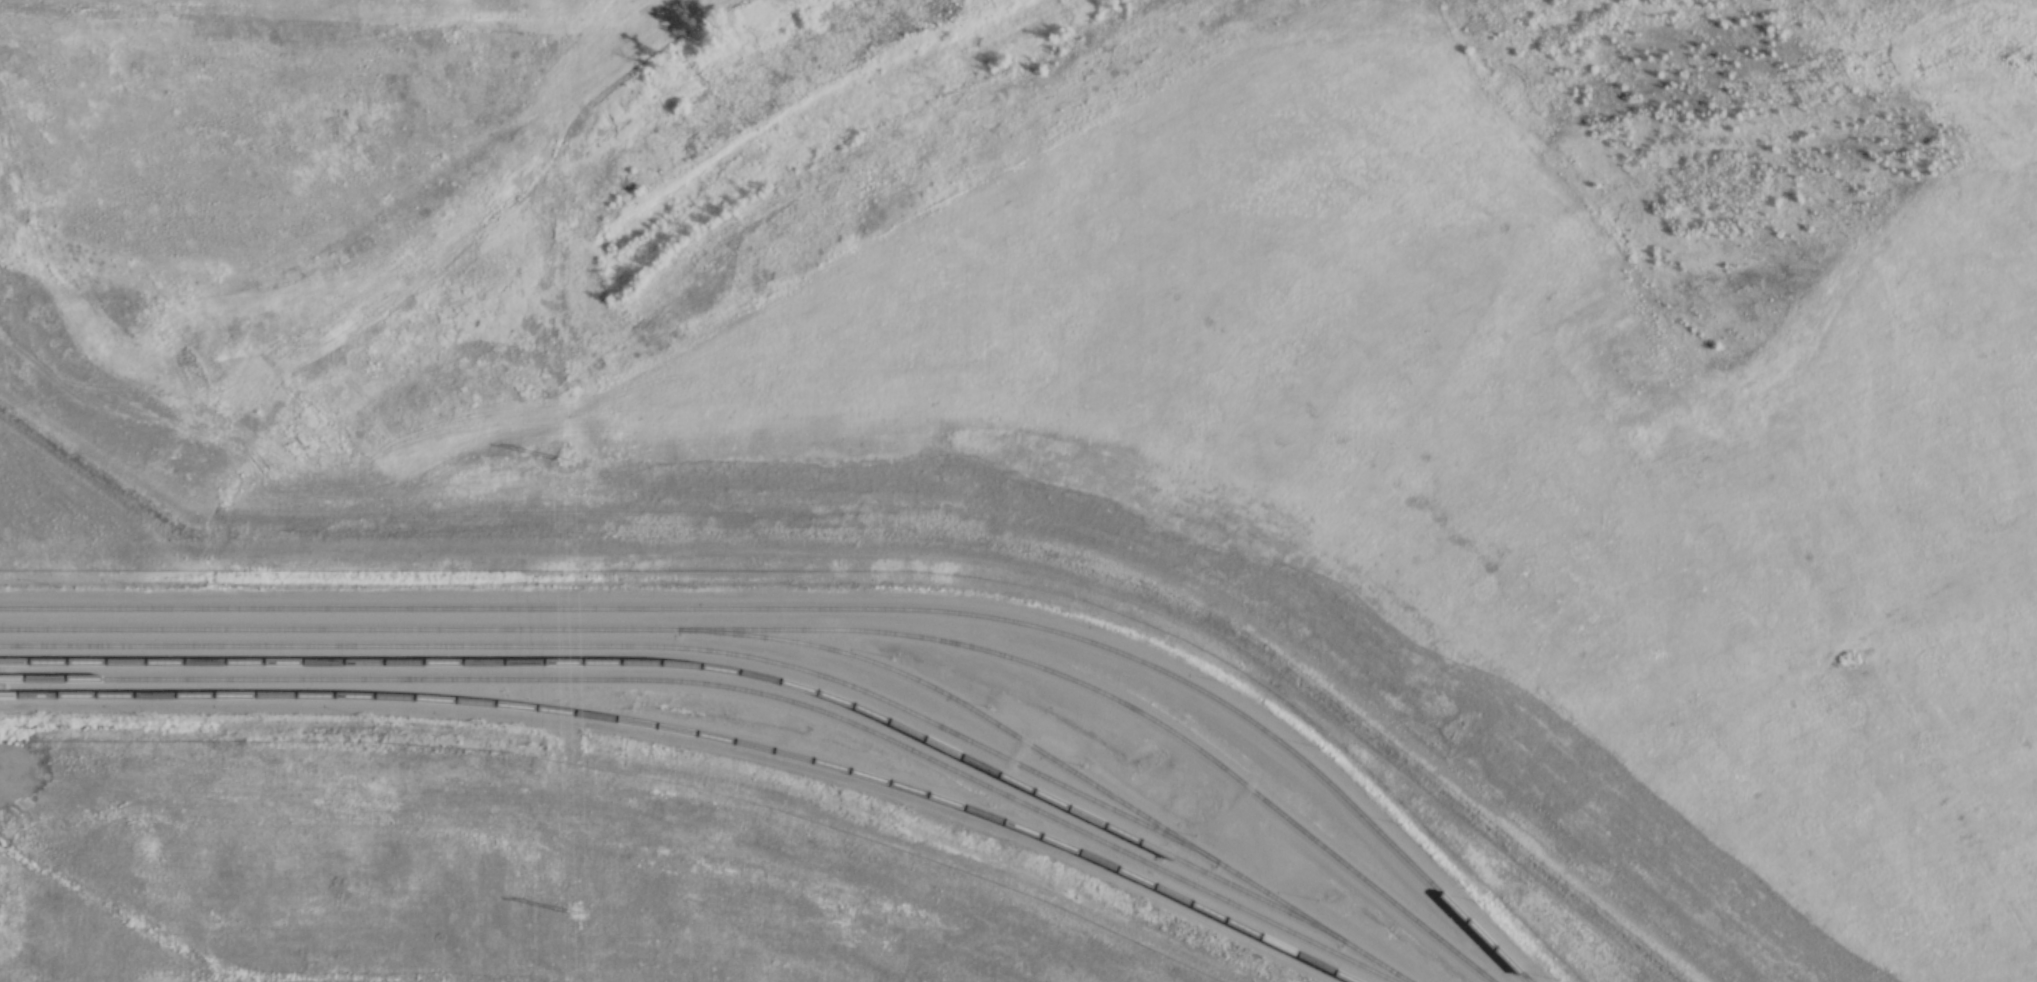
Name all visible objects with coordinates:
power tower: (568, 454)
railway: (828, 606)
railway: (799, 627)
railway: (745, 655)
railway: (686, 663)
railway: (732, 685)
railway: (958, 698)
railway: (703, 732)
power tower: (580, 911)

